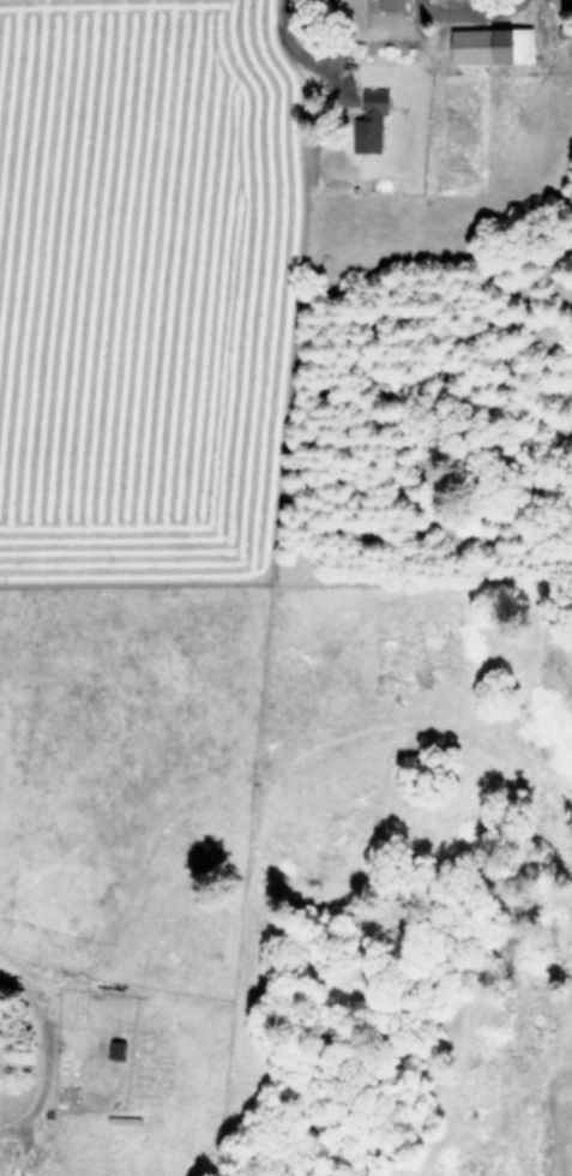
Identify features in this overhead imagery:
building: (389, 4)
building: (488, 43)
road: (288, 48)
building: (367, 119)
crop: (179, 503)
building: (114, 1048)
road: (46, 1051)

